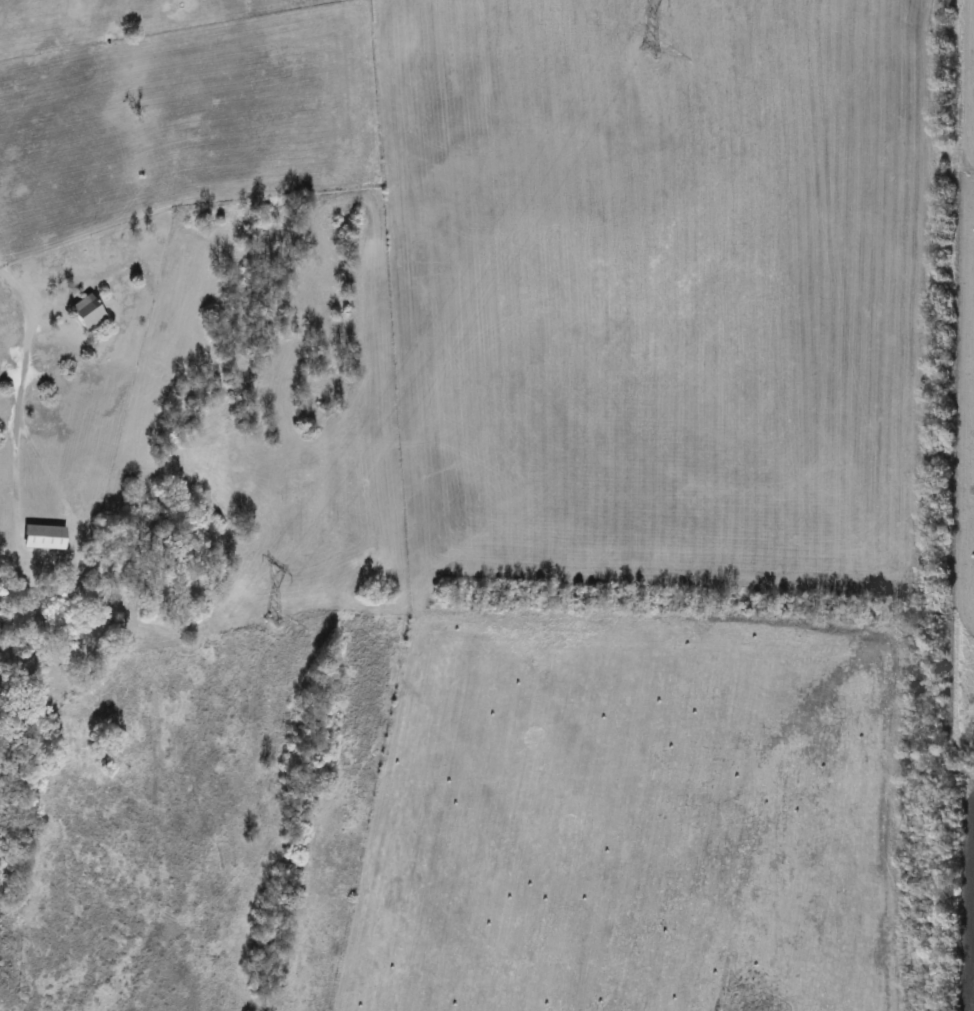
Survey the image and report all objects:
power tower: (649, 52)
building: (87, 312)
road: (21, 379)
building: (43, 537)
power tower: (270, 619)

